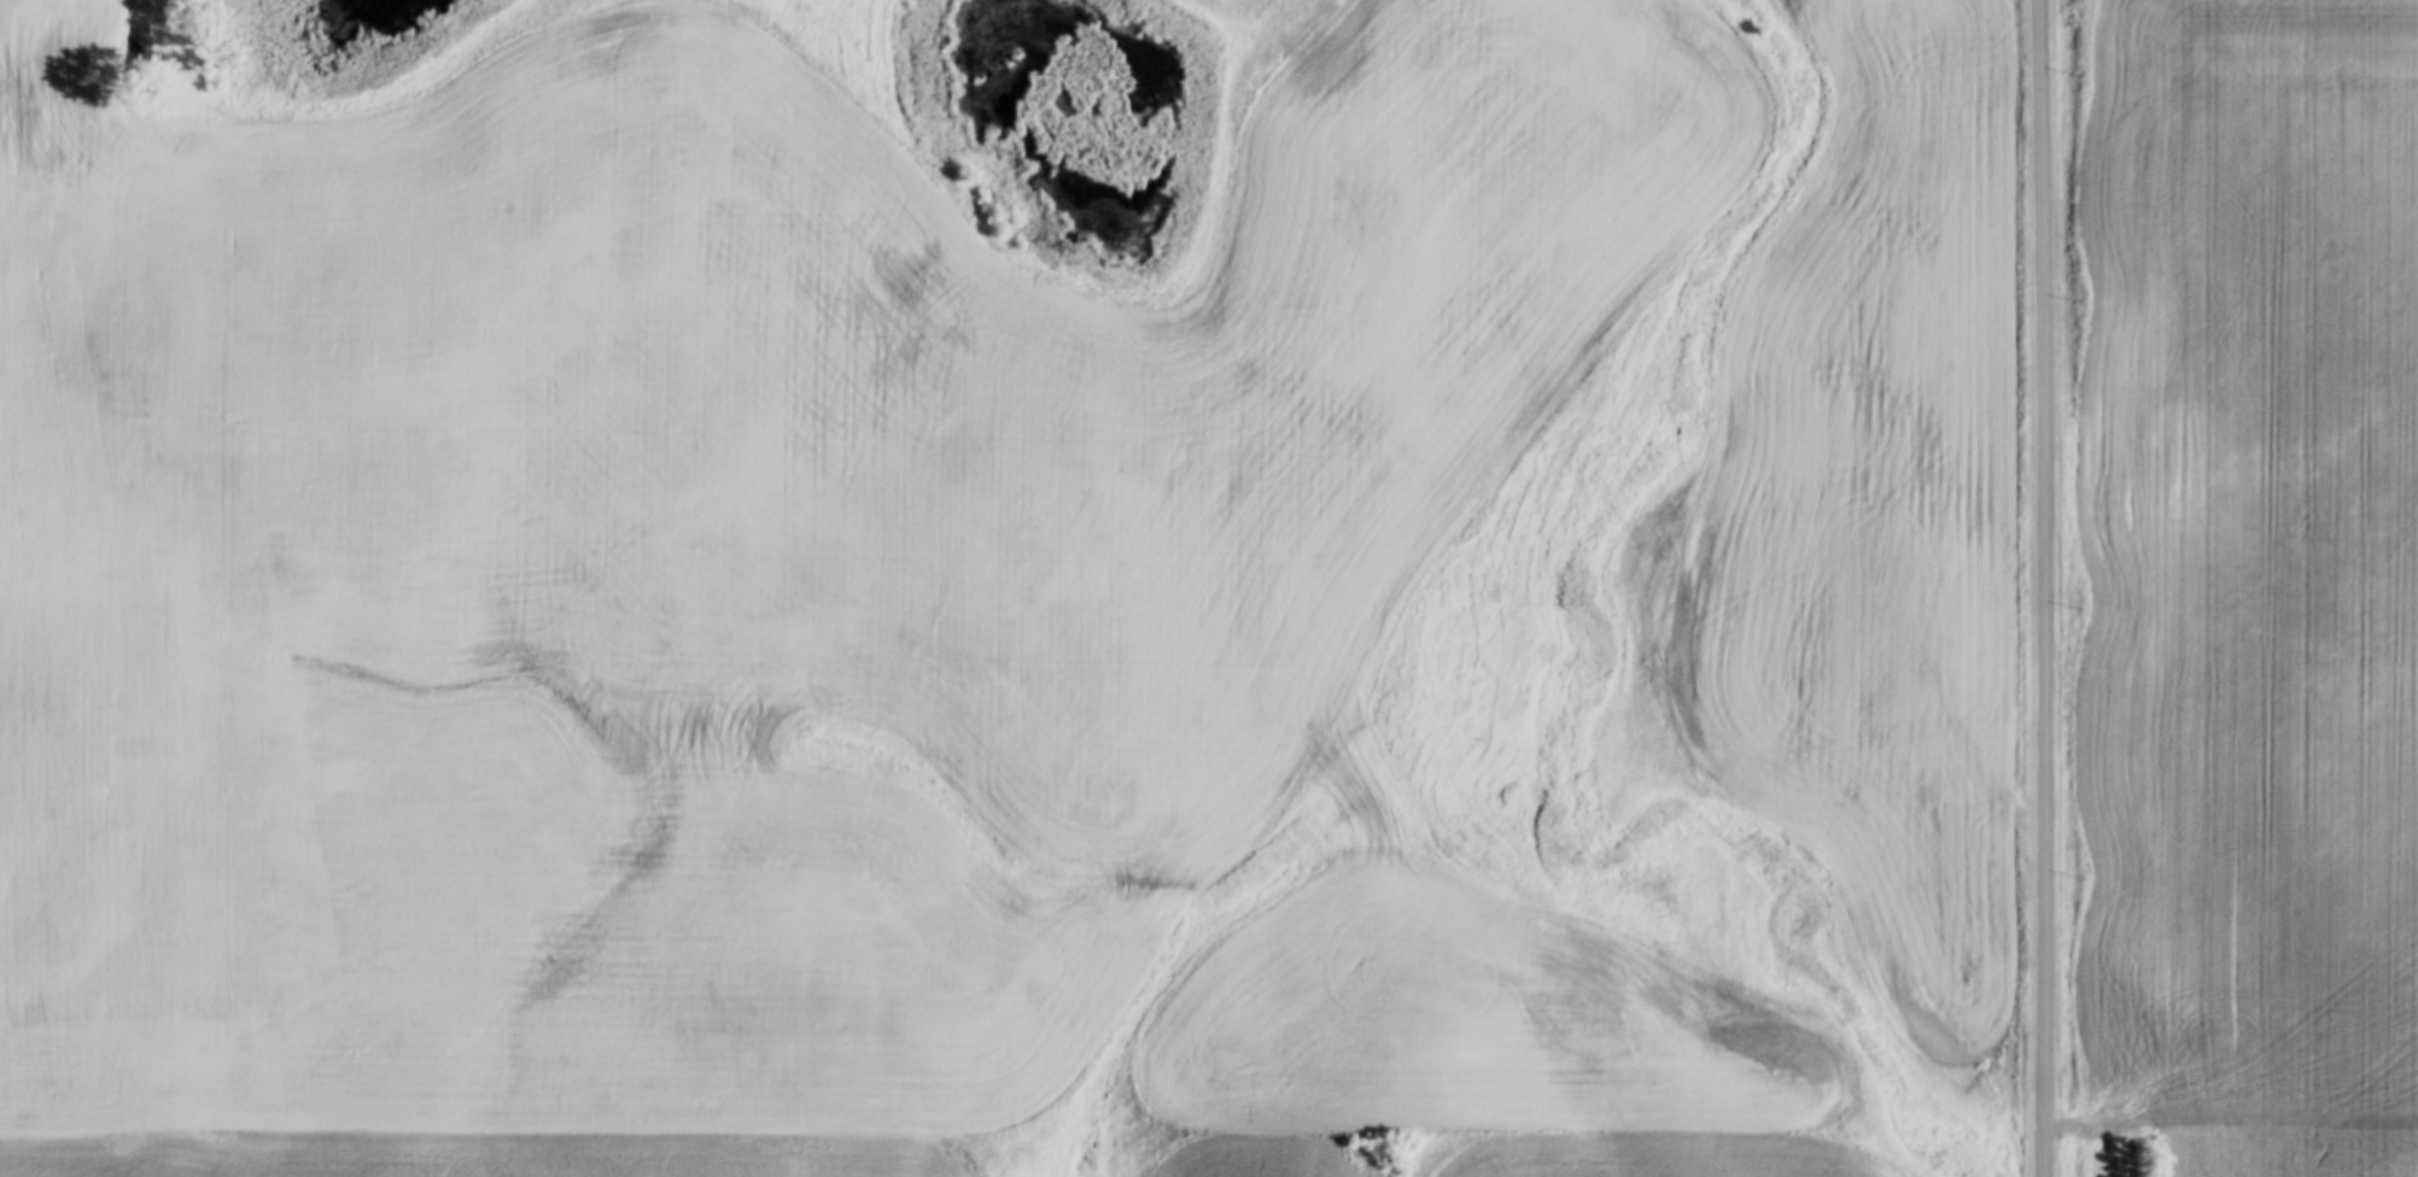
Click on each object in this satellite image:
road: (2046, 588)

